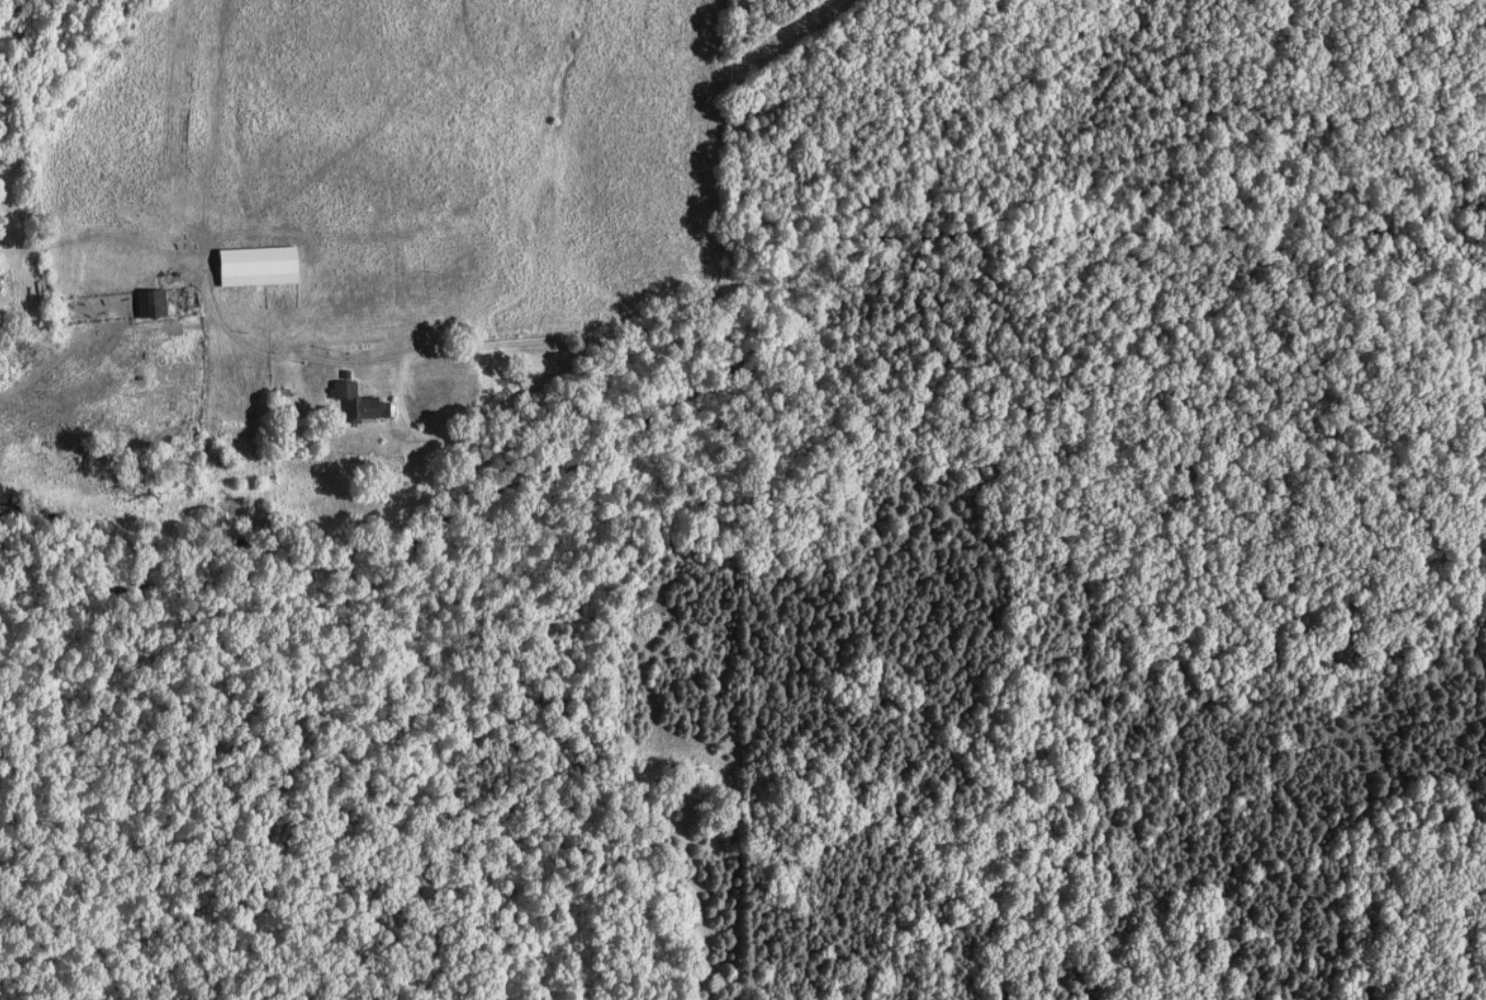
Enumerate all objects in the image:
road: (744, 204)
building: (259, 266)
building: (153, 303)
road: (294, 357)
building: (358, 402)
road: (404, 406)

